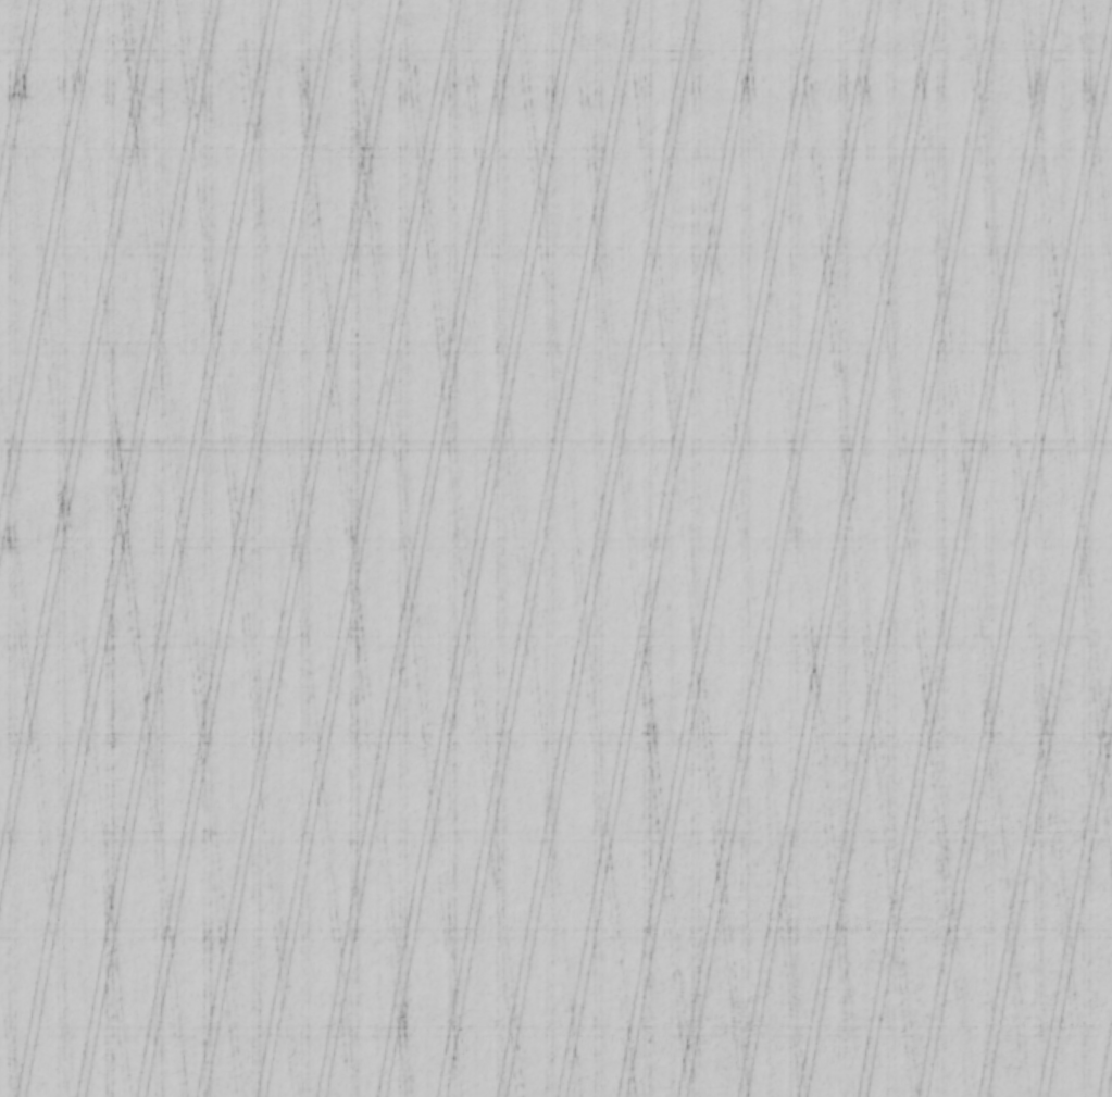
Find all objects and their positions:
crop: (555, 548)

